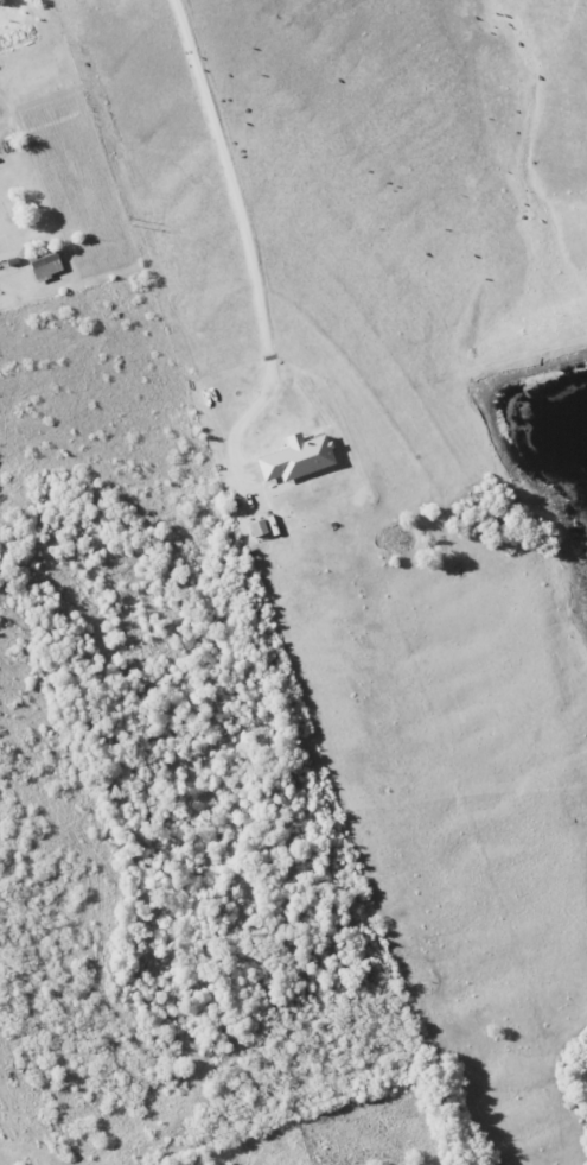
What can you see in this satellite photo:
road: (250, 238)
building: (44, 262)
building: (294, 457)

